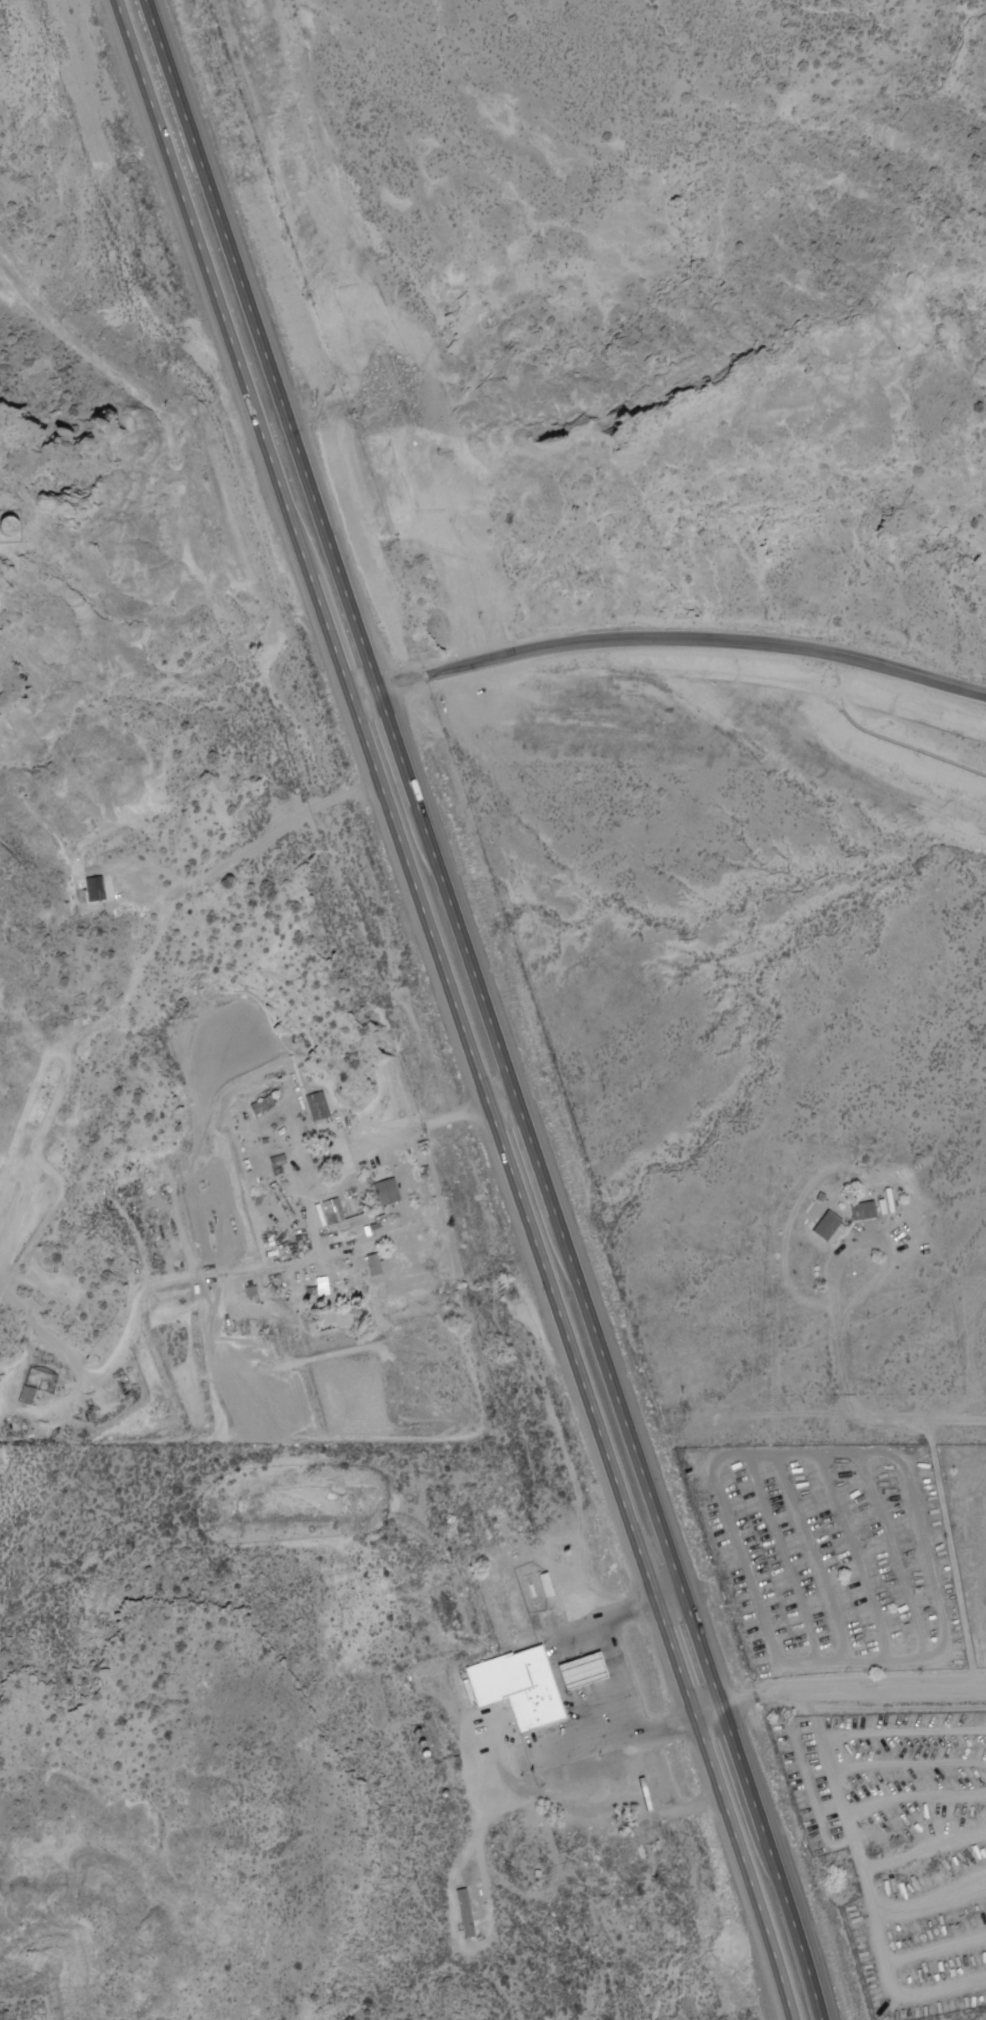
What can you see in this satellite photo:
road: (682, 638)
road: (365, 694)
building: (96, 888)
road: (461, 1008)
road: (487, 1009)
building: (262, 1104)
building: (390, 1190)
building: (867, 1210)
building: (831, 1226)
building: (370, 1265)
road: (277, 1268)
road: (944, 1502)
building: (549, 1585)
building: (587, 1670)
building: (521, 1684)
road: (842, 1688)
building: (466, 1913)

